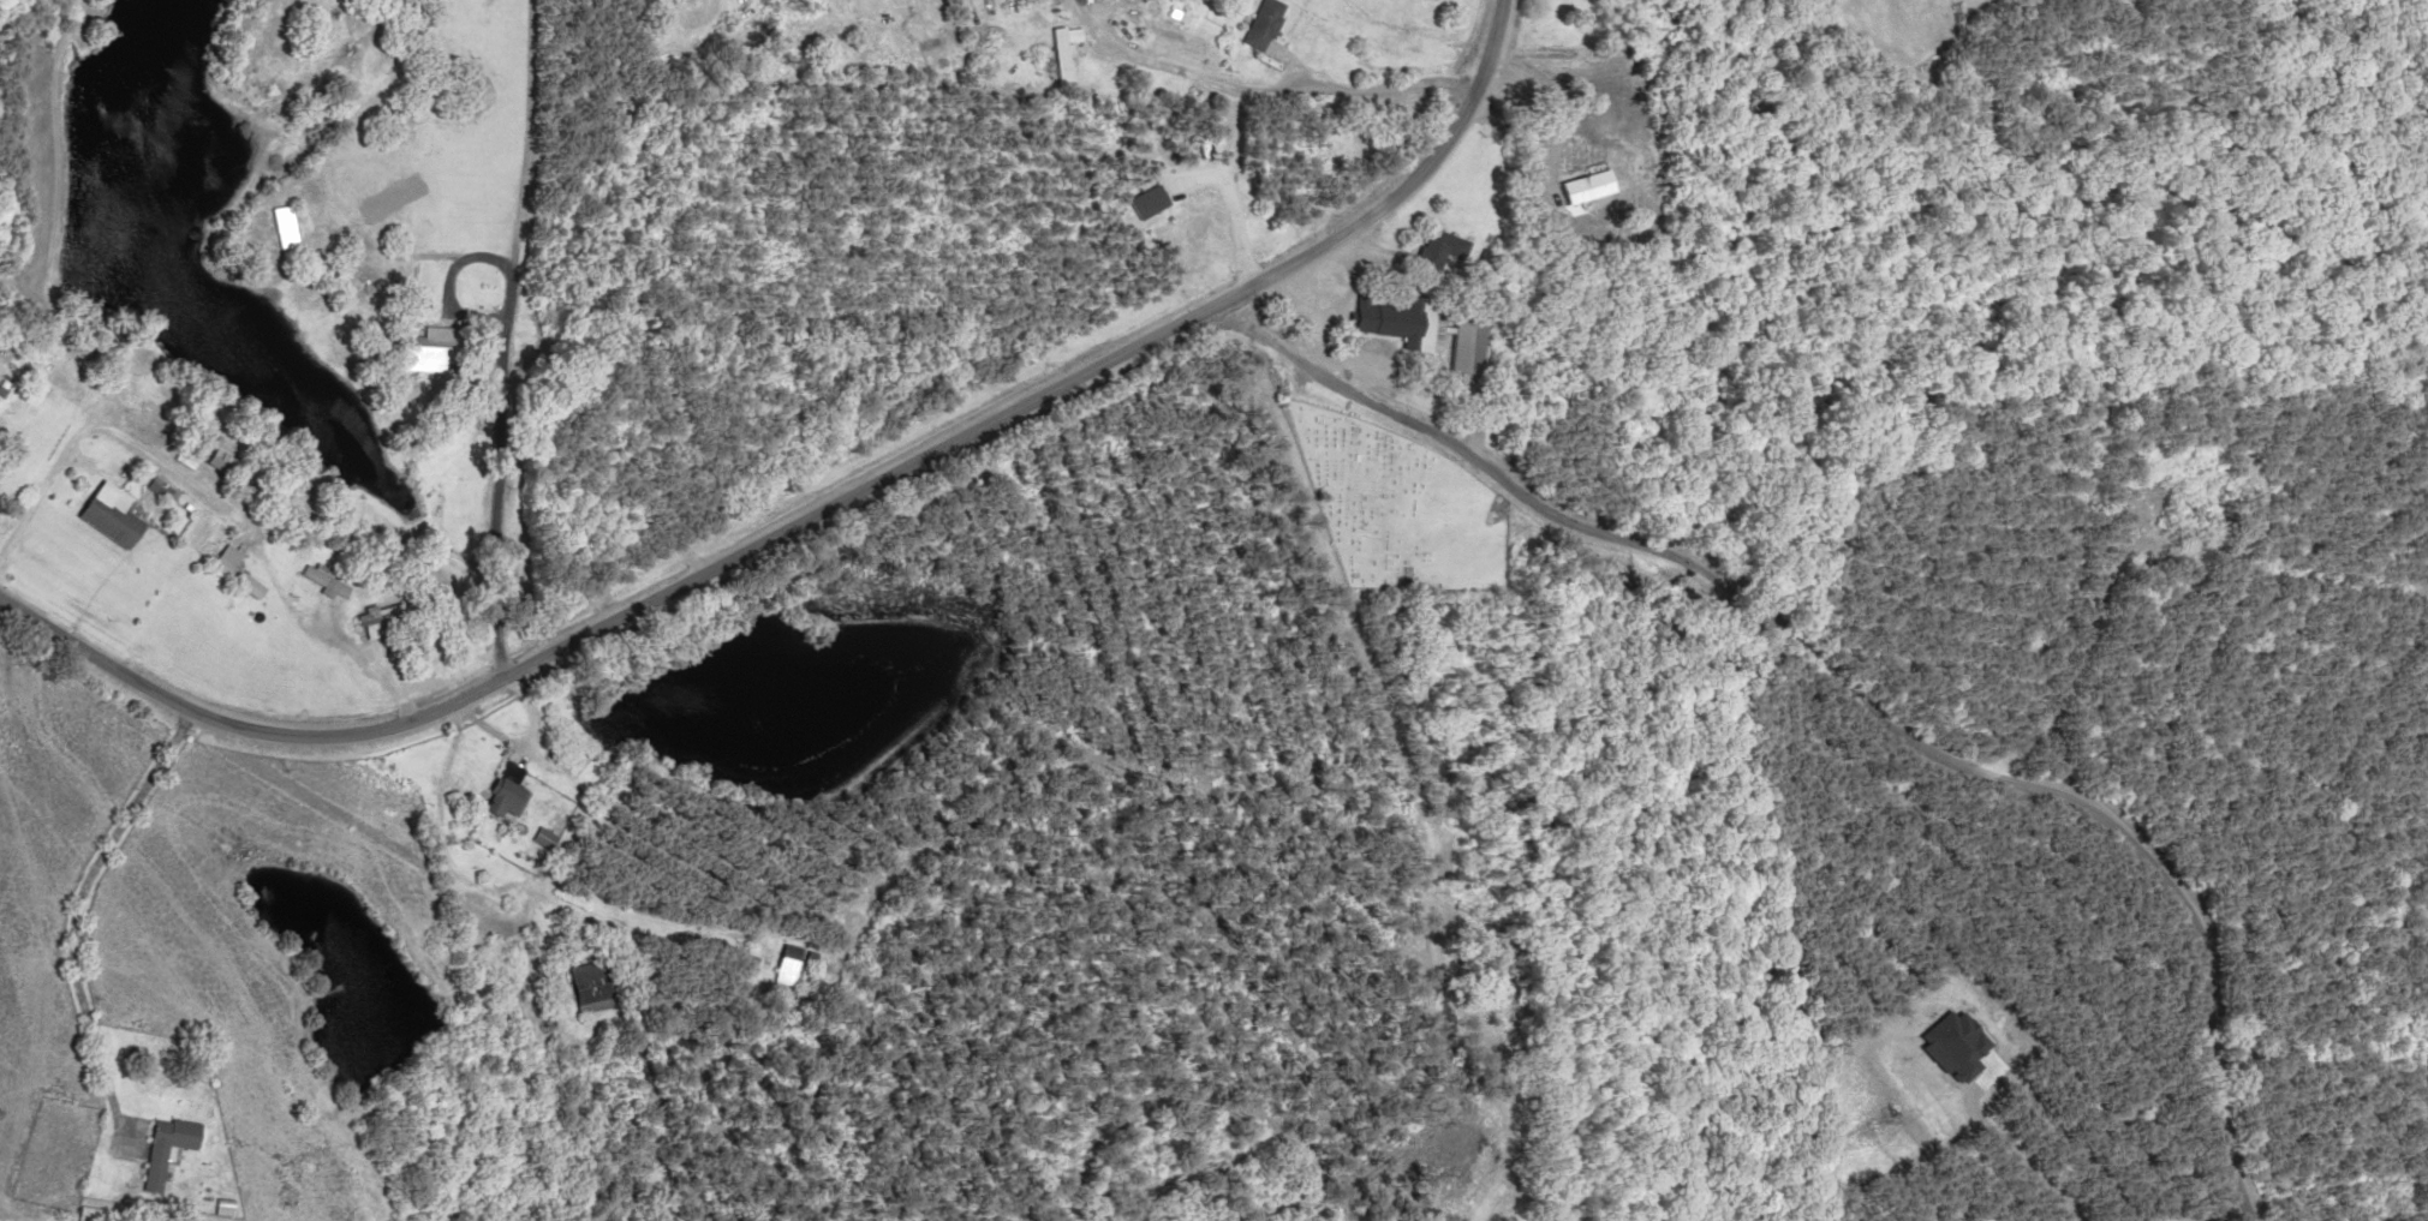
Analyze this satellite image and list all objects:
building: (1019, 0)
building: (1263, 24)
building: (1055, 56)
road: (1231, 192)
building: (276, 226)
building: (1437, 250)
building: (1400, 321)
building: (1463, 347)
building: (423, 348)
road: (198, 353)
building: (181, 449)
building: (213, 462)
road: (821, 503)
building: (103, 516)
building: (228, 571)
building: (372, 618)
road: (1855, 716)
building: (500, 792)
building: (536, 838)
building: (781, 964)
building: (580, 986)
building: (162, 1148)
building: (83, 1213)

